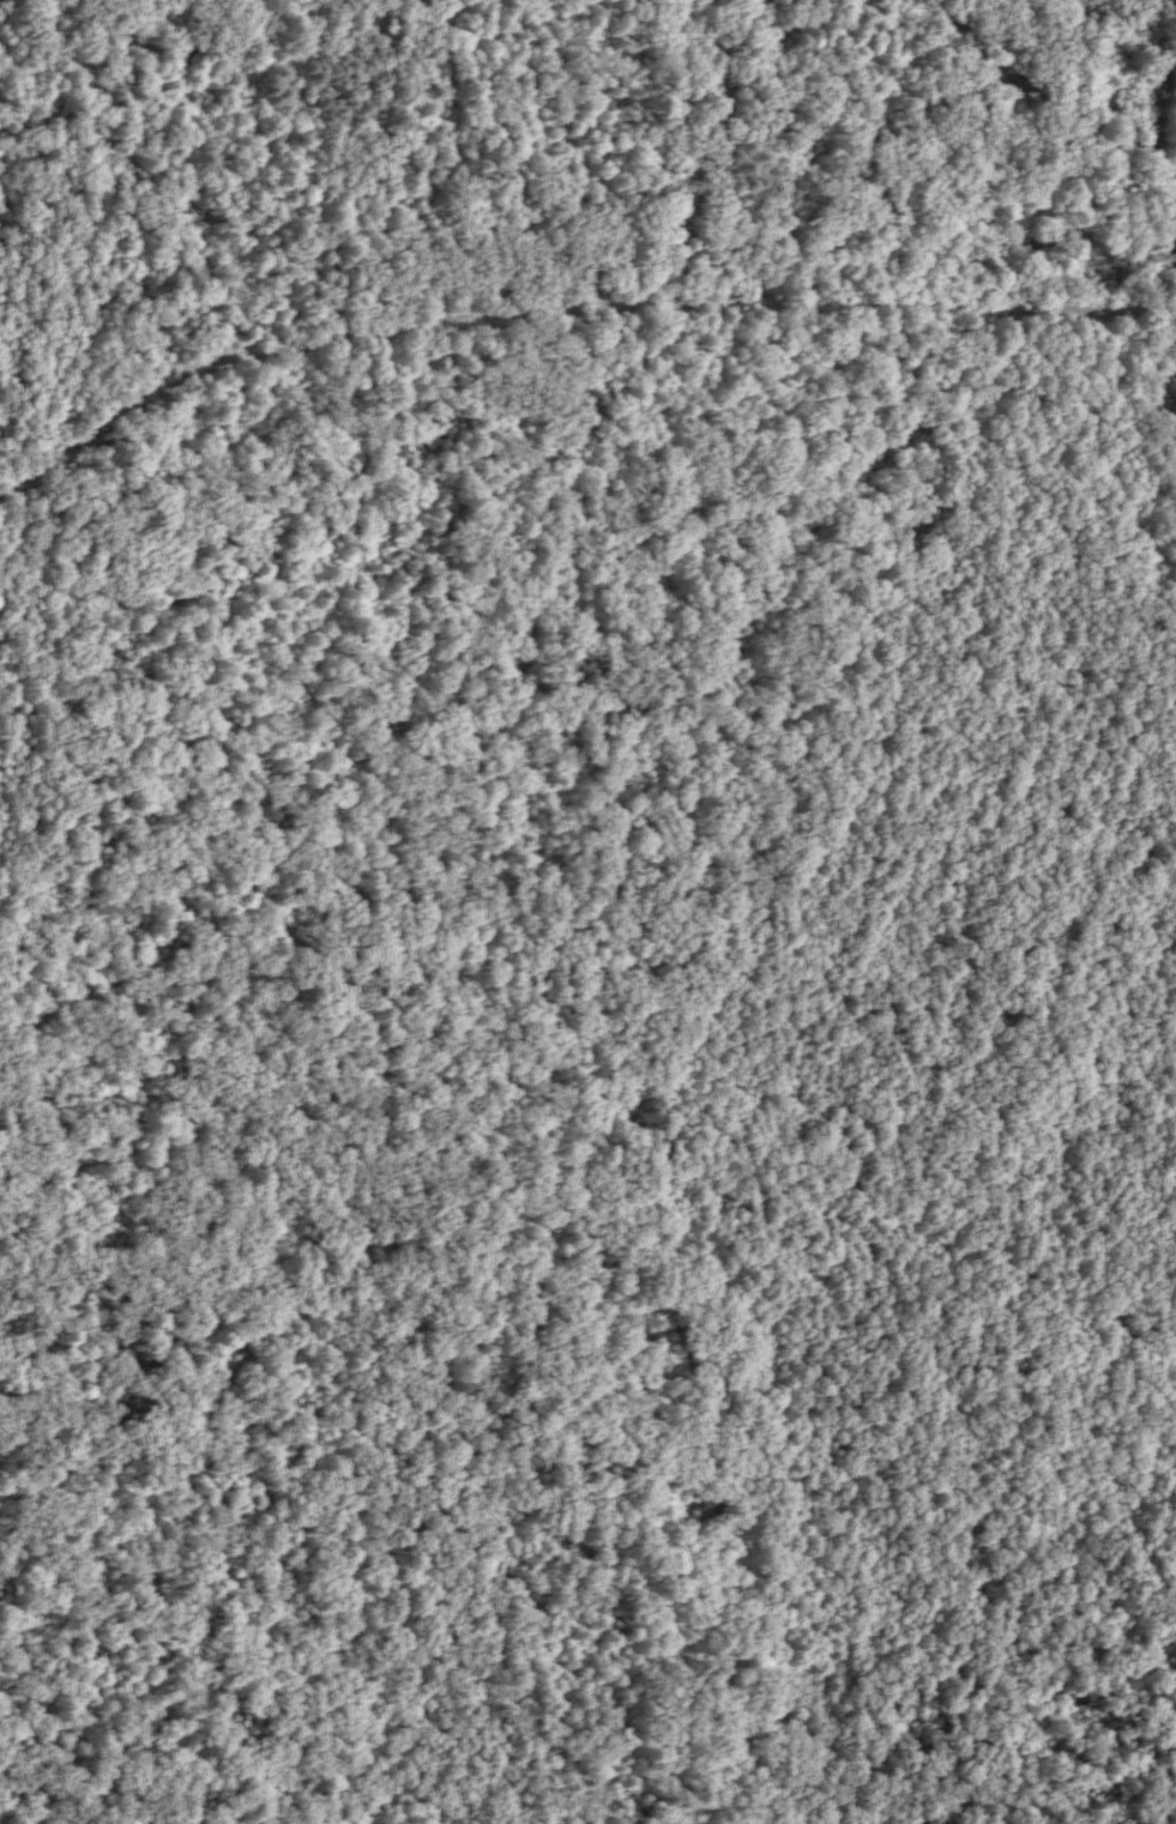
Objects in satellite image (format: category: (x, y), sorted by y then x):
road: (567, 308)
road: (1105, 458)

